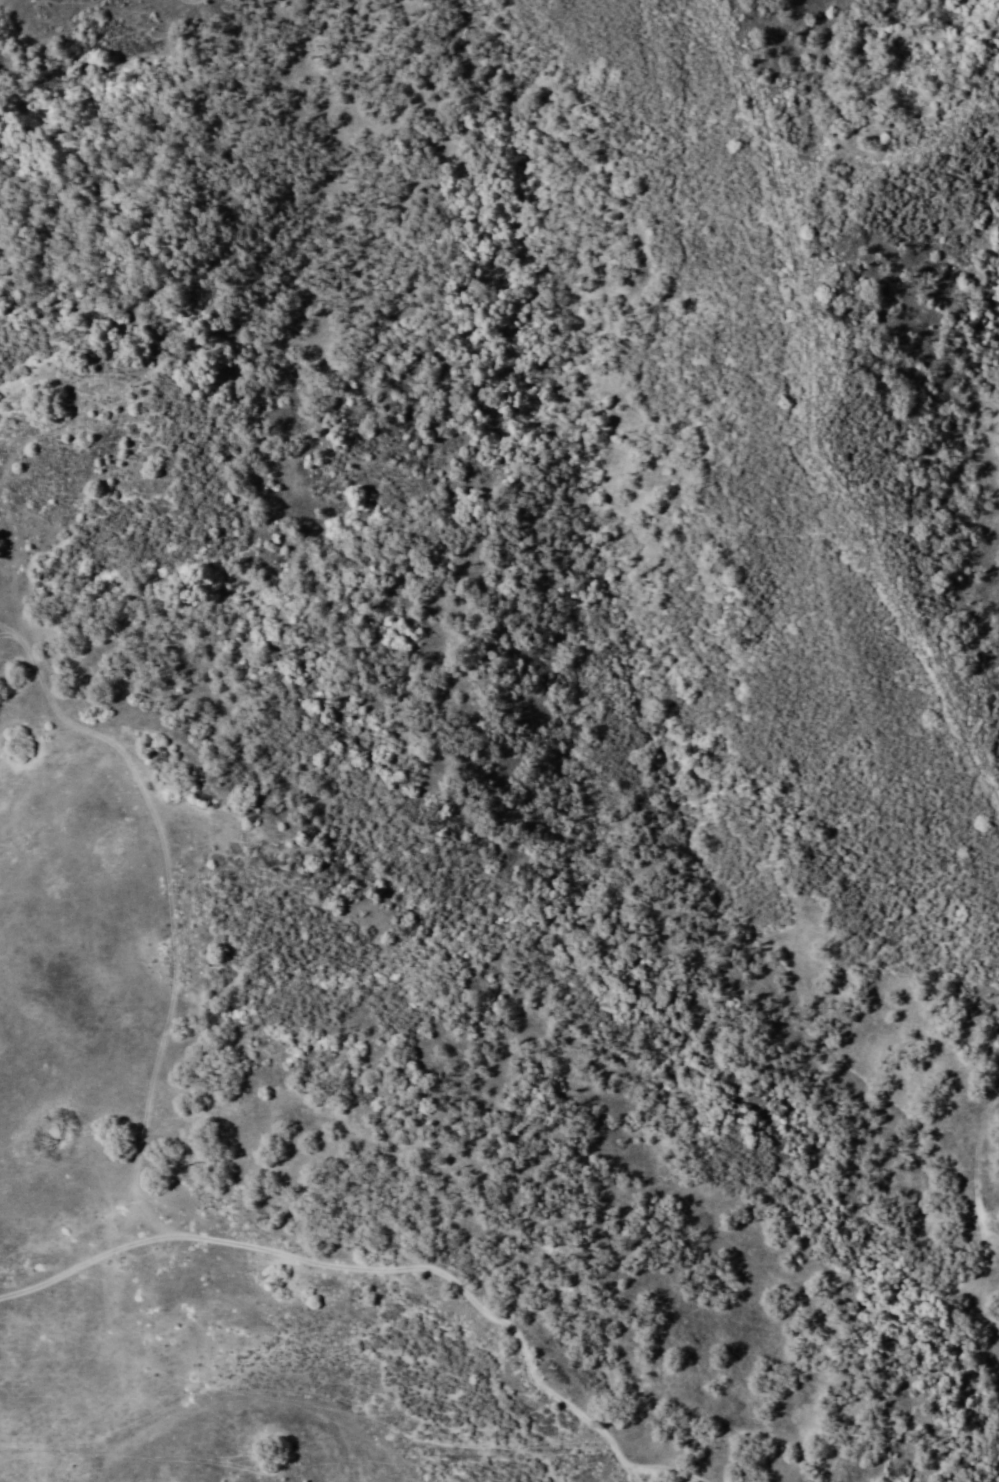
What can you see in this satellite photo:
road: (255, 1457)

